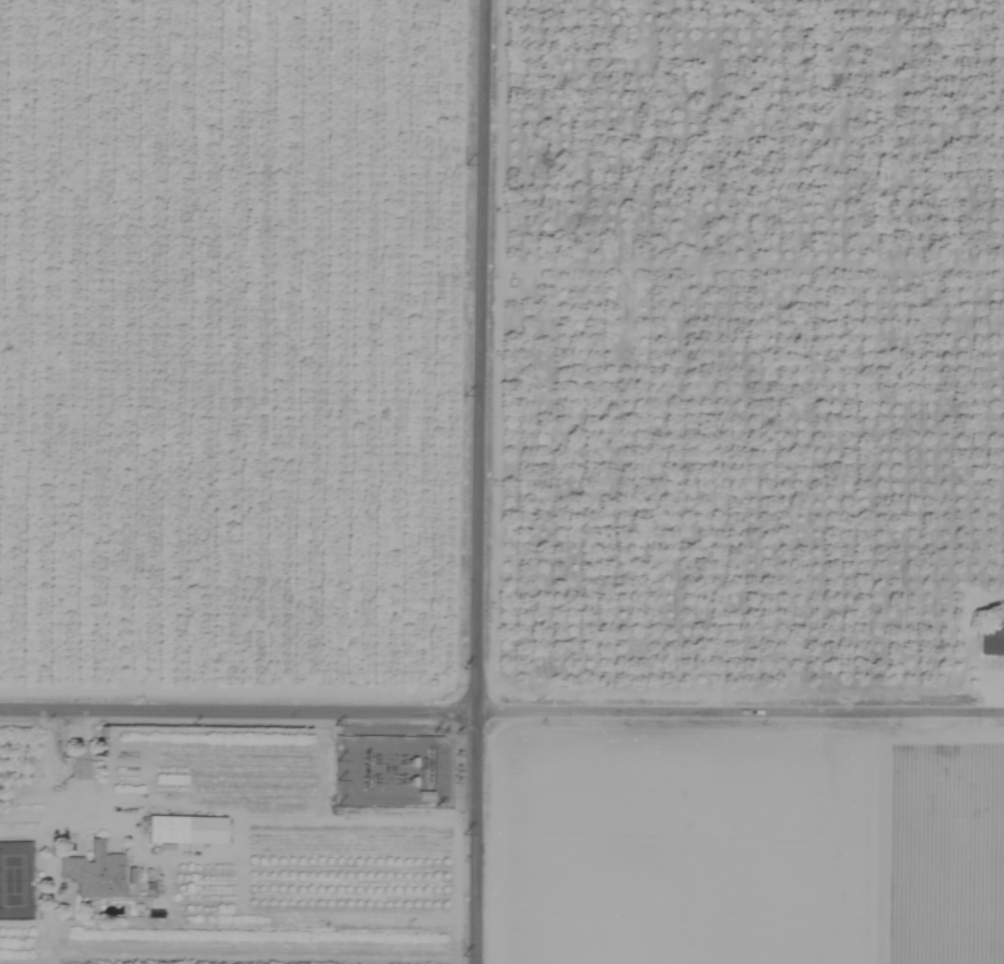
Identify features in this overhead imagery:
road: (476, 481)
crop: (502, 482)
building: (991, 643)
road: (501, 707)
road: (80, 766)
building: (185, 831)
building: (94, 873)

